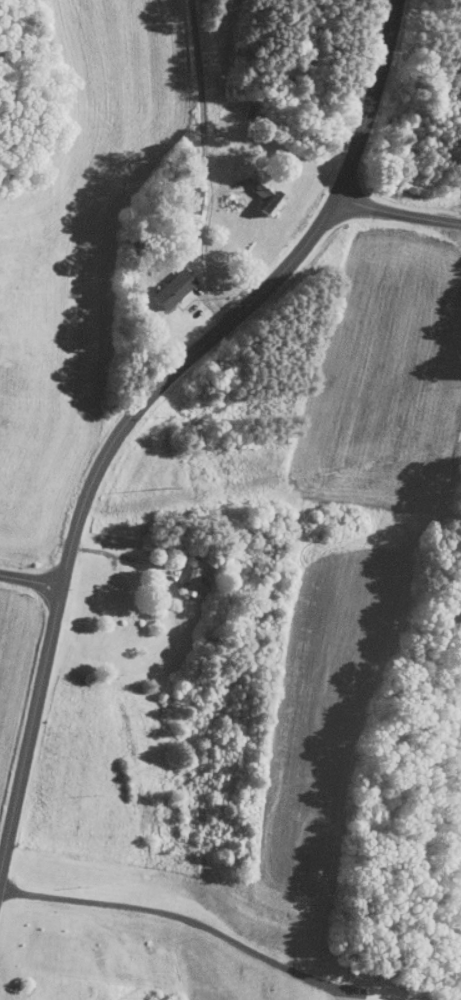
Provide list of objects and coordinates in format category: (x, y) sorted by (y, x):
road: (205, 164)
road: (396, 213)
building: (158, 282)
road: (141, 404)
power tower: (158, 487)
power tower: (67, 504)
road: (117, 555)
building: (177, 573)
road: (30, 578)
road: (182, 918)

